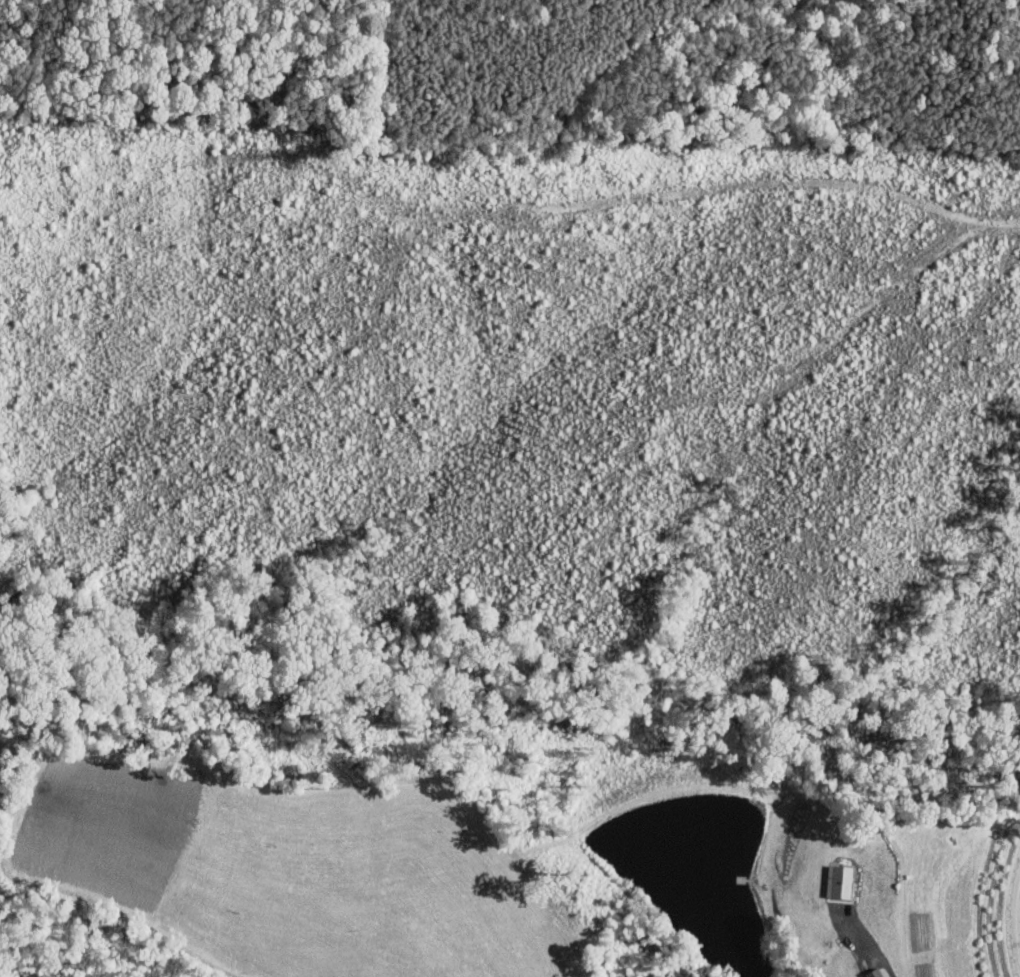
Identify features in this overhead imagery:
building: (839, 881)
road: (876, 946)
building: (874, 972)

